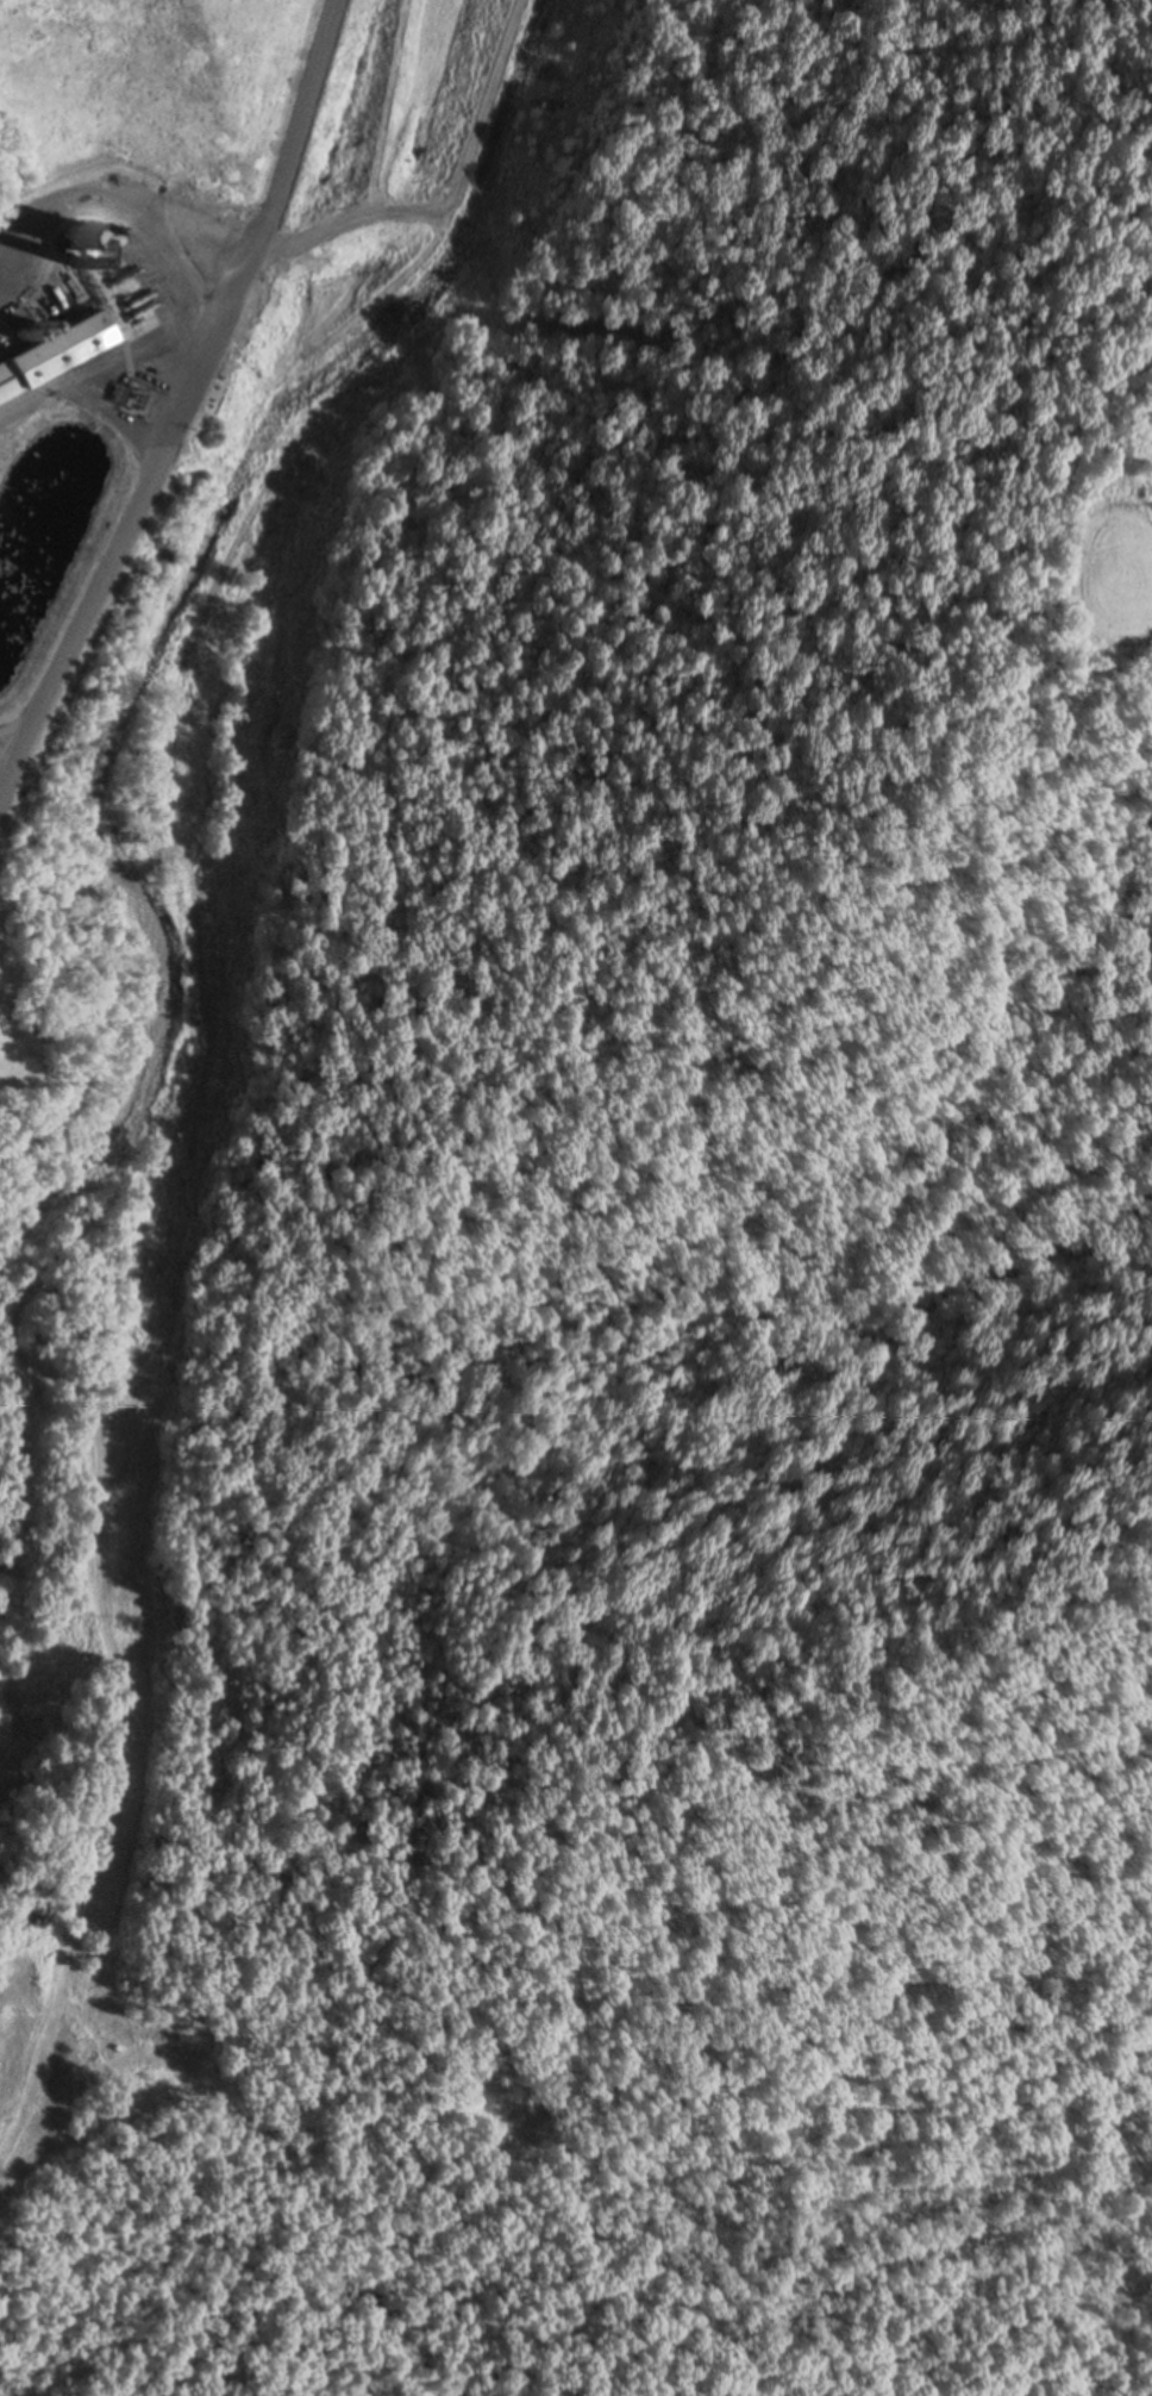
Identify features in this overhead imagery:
road: (81, 236)
building: (65, 348)
power substation: (144, 399)
power tower: (218, 420)
power tower: (305, 469)
power tower: (257, 747)
road: (12, 993)
power tower: (199, 1056)
power tower: (142, 1372)
power tower: (94, 1614)

